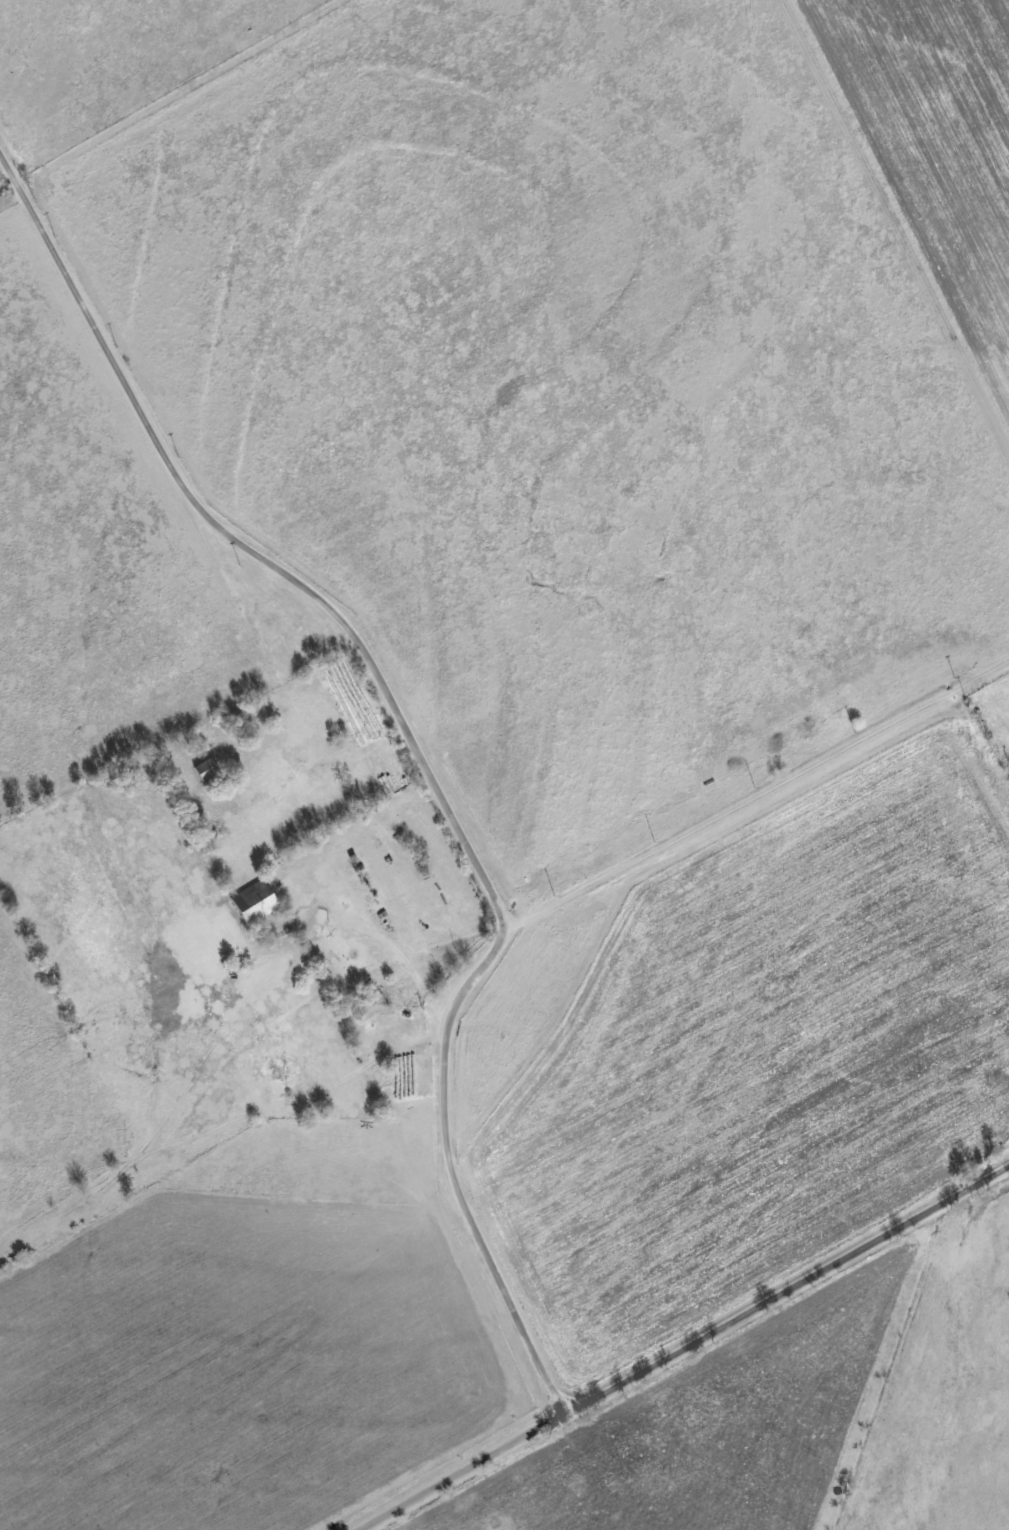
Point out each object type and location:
road: (413, 746)
road: (366, 748)
building: (209, 768)
building: (257, 899)
road: (373, 935)
building: (401, 990)
road: (788, 1290)
road: (458, 1470)

